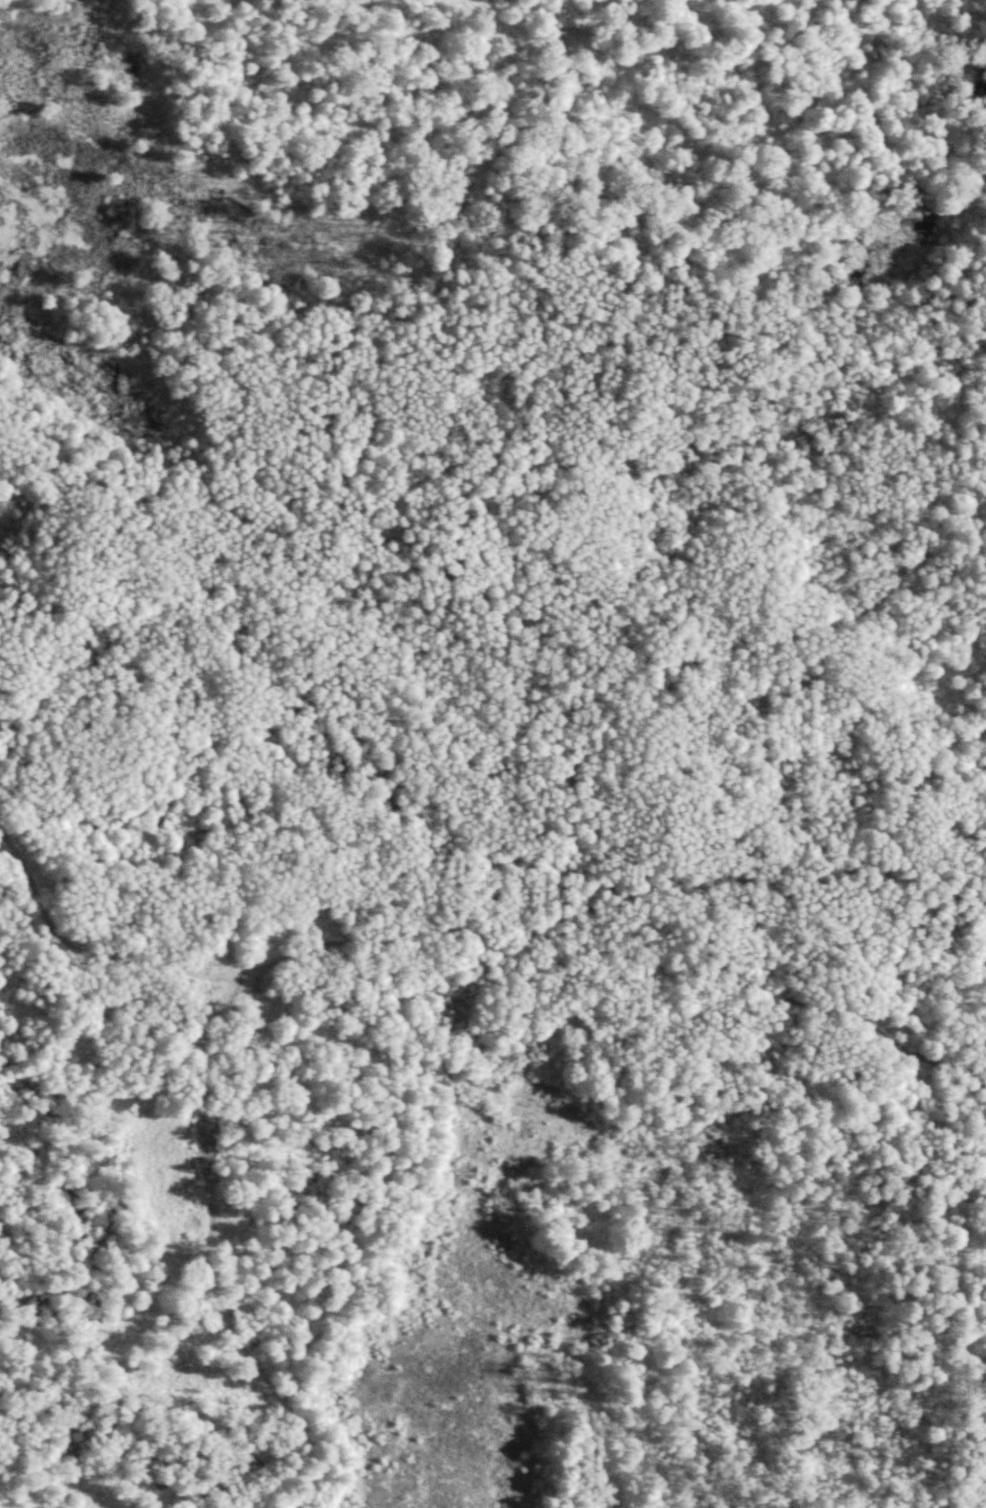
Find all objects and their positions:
road: (493, 1124)

